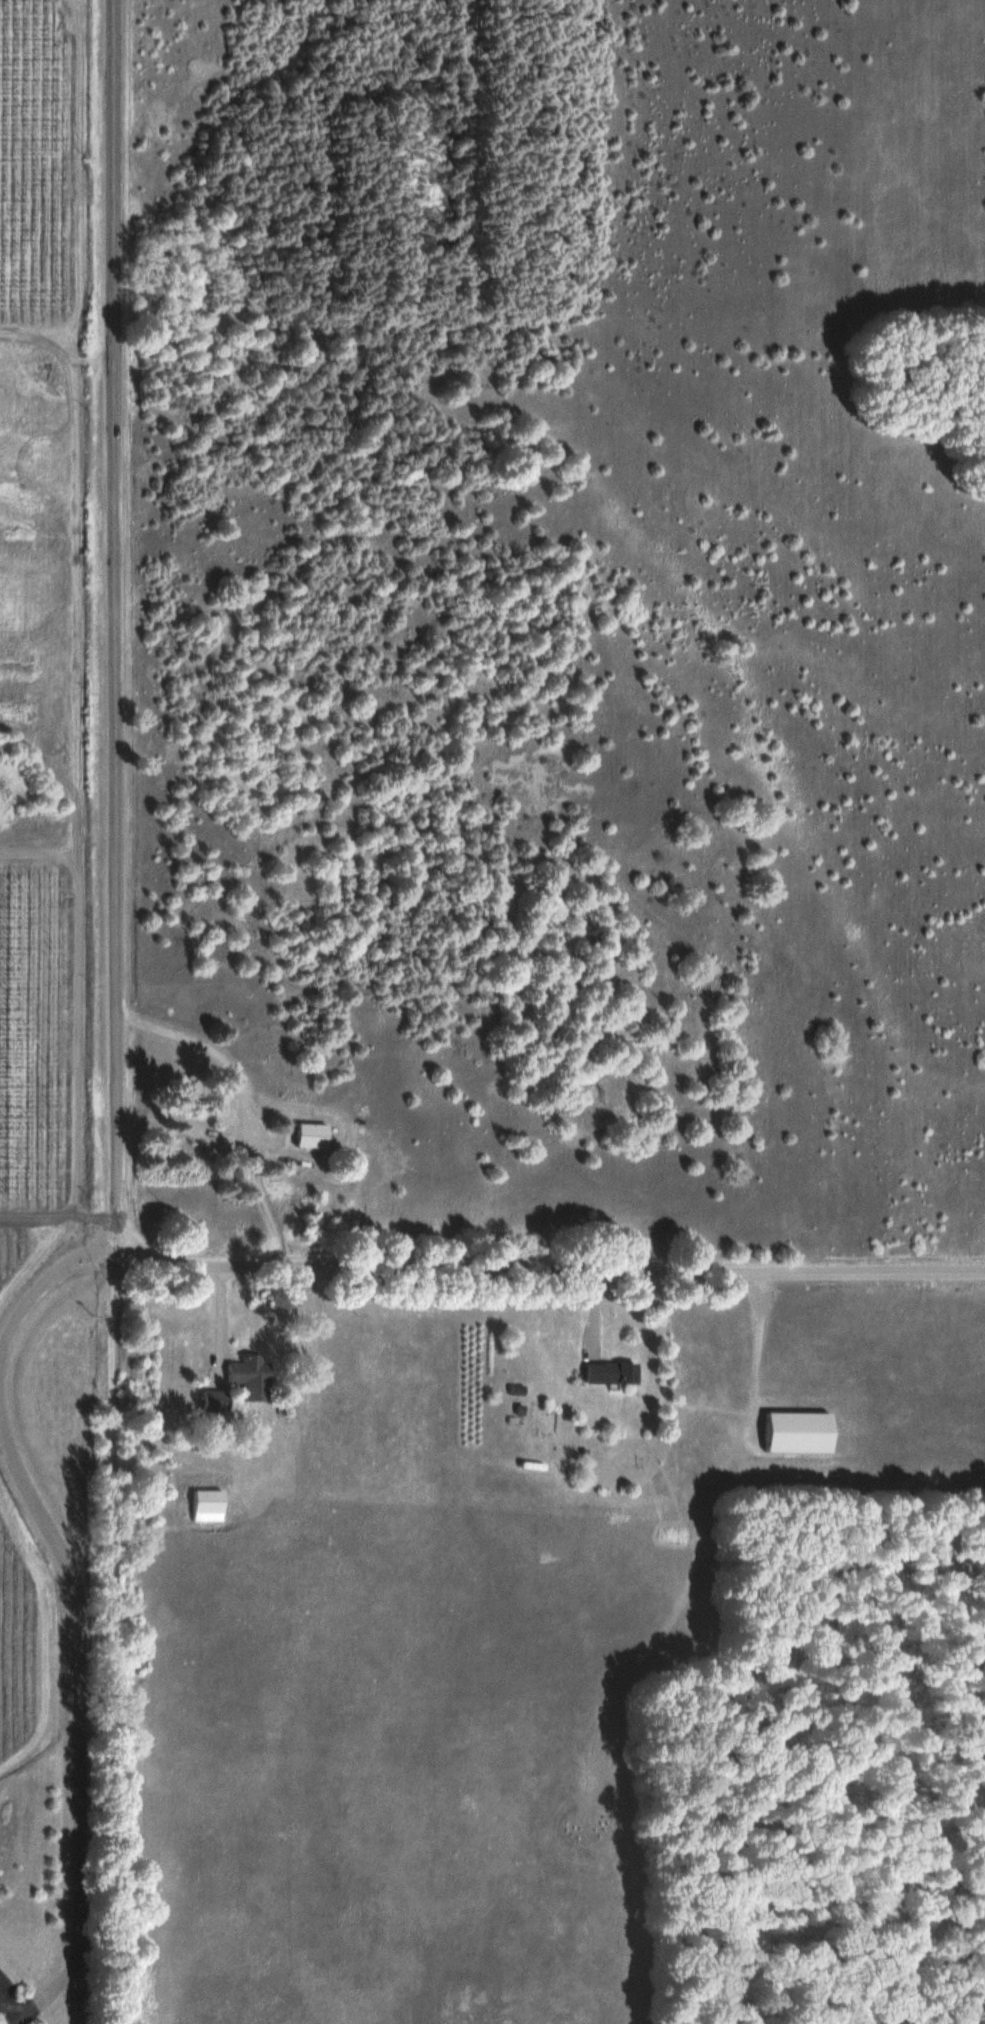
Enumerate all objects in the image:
road: (127, 627)
building: (328, 1125)
building: (312, 1134)
road: (88, 1263)
road: (558, 1269)
building: (624, 1362)
building: (267, 1367)
building: (611, 1372)
building: (252, 1375)
building: (532, 1379)
building: (232, 1389)
building: (216, 1400)
building: (811, 1421)
building: (223, 1491)
building: (207, 1499)
road: (94, 1586)
road: (129, 1639)

